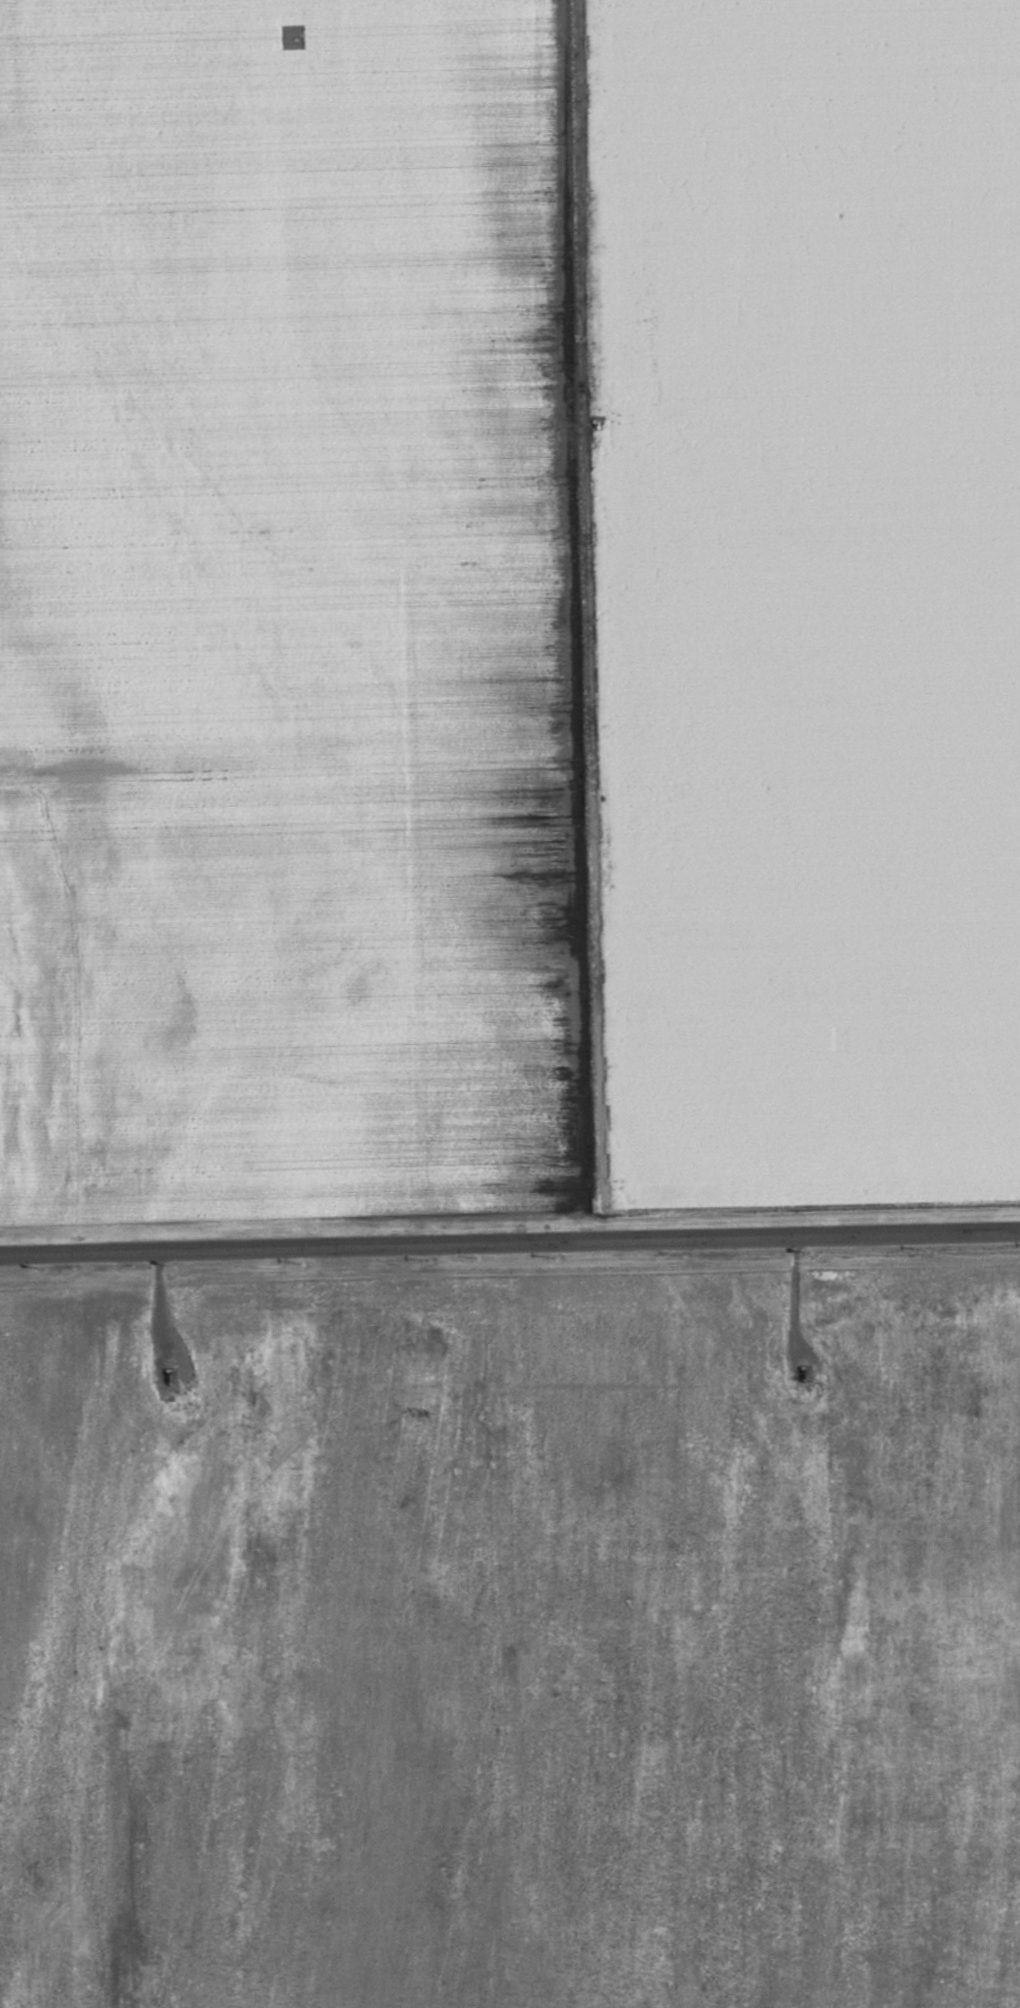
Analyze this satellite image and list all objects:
road: (510, 1240)

